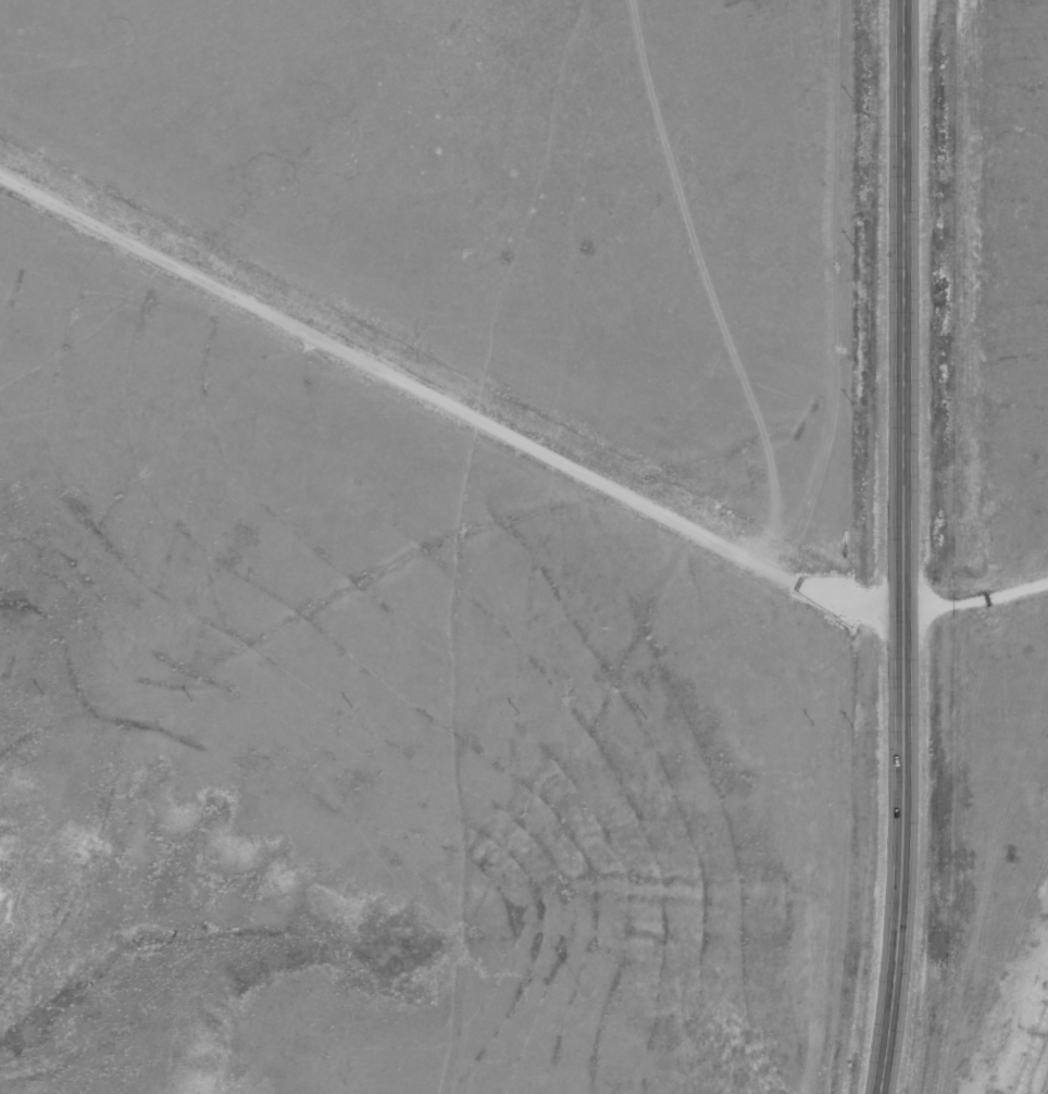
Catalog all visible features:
road: (980, 347)
road: (447, 390)
road: (910, 547)

